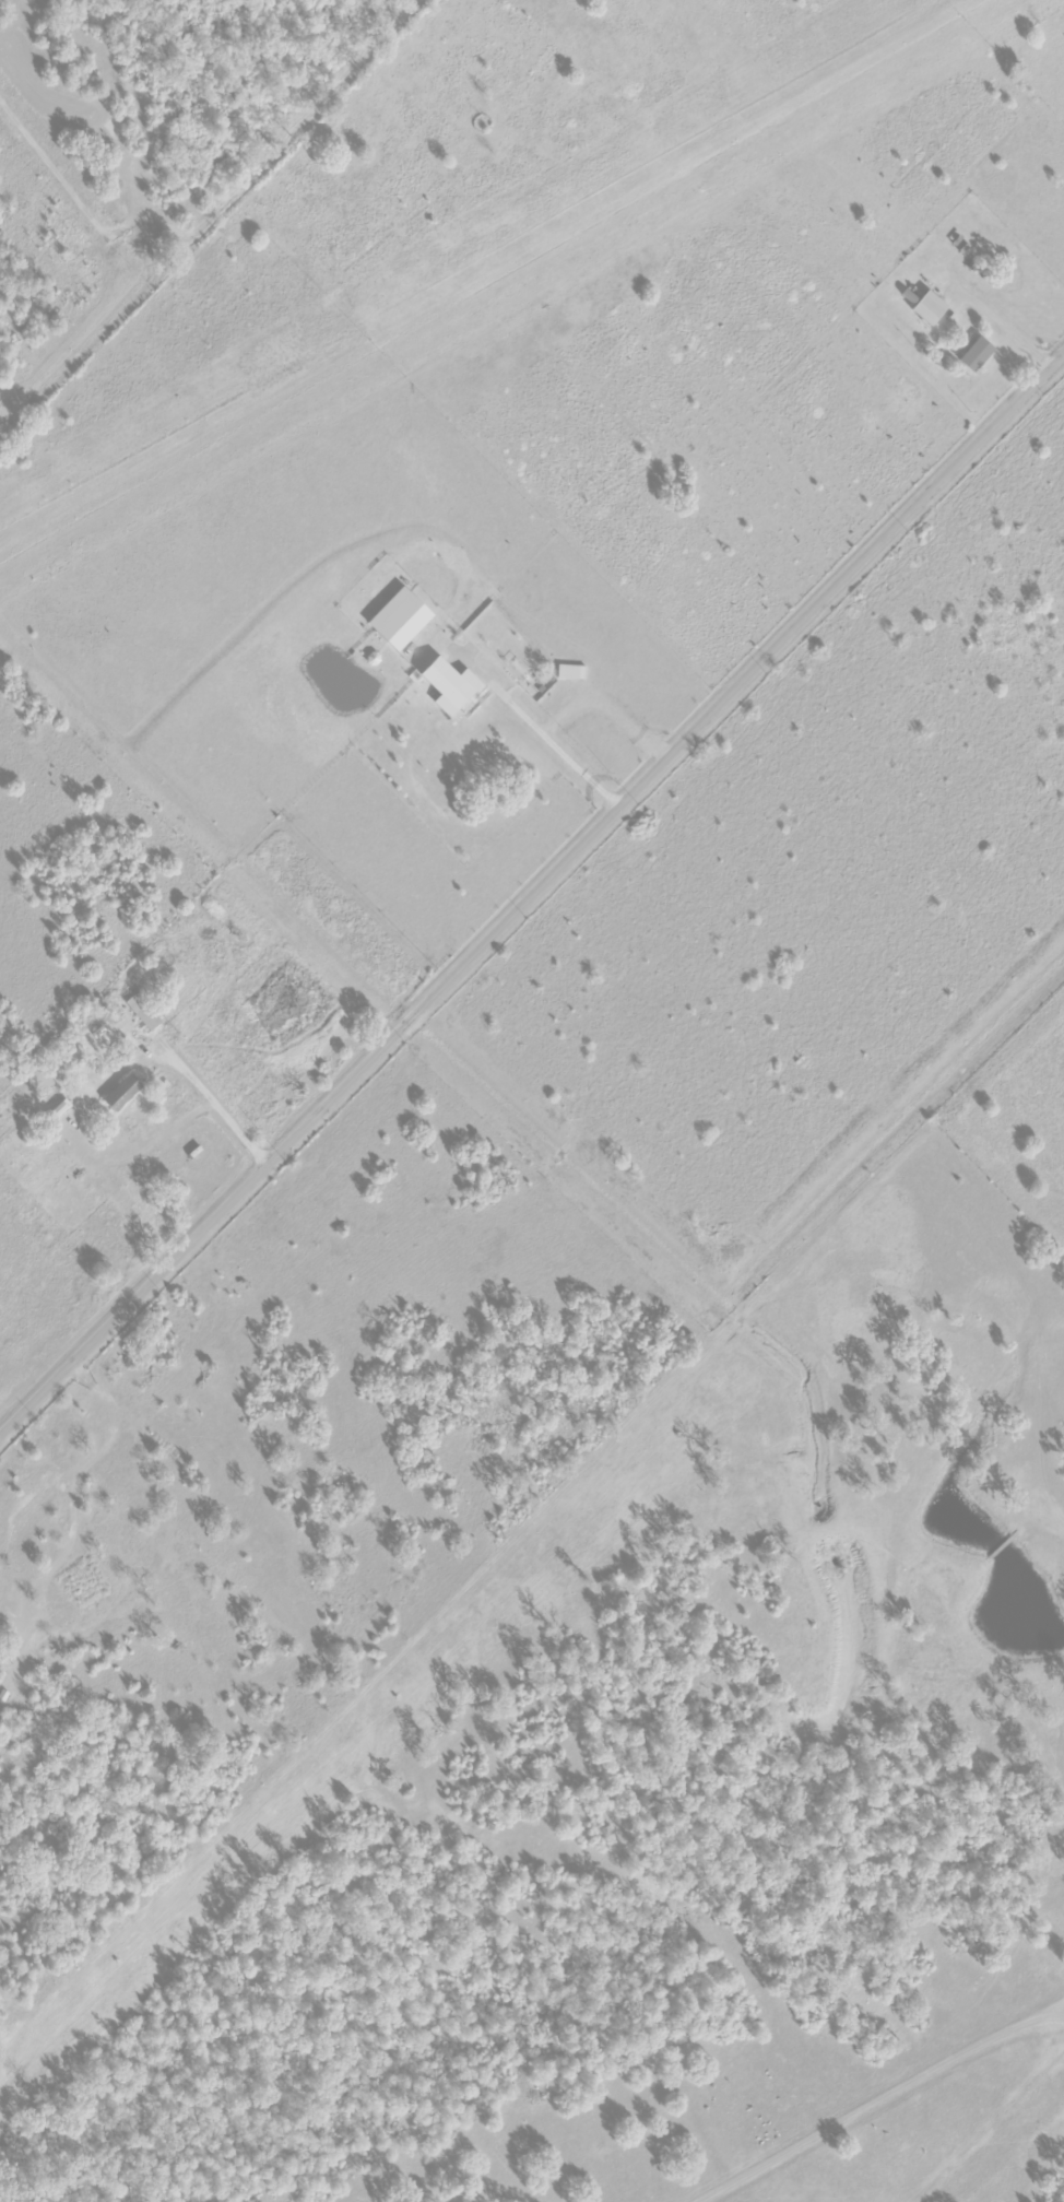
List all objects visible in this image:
road: (875, 116)
building: (923, 306)
building: (440, 681)
road: (532, 893)
building: (142, 1016)
building: (116, 1092)

